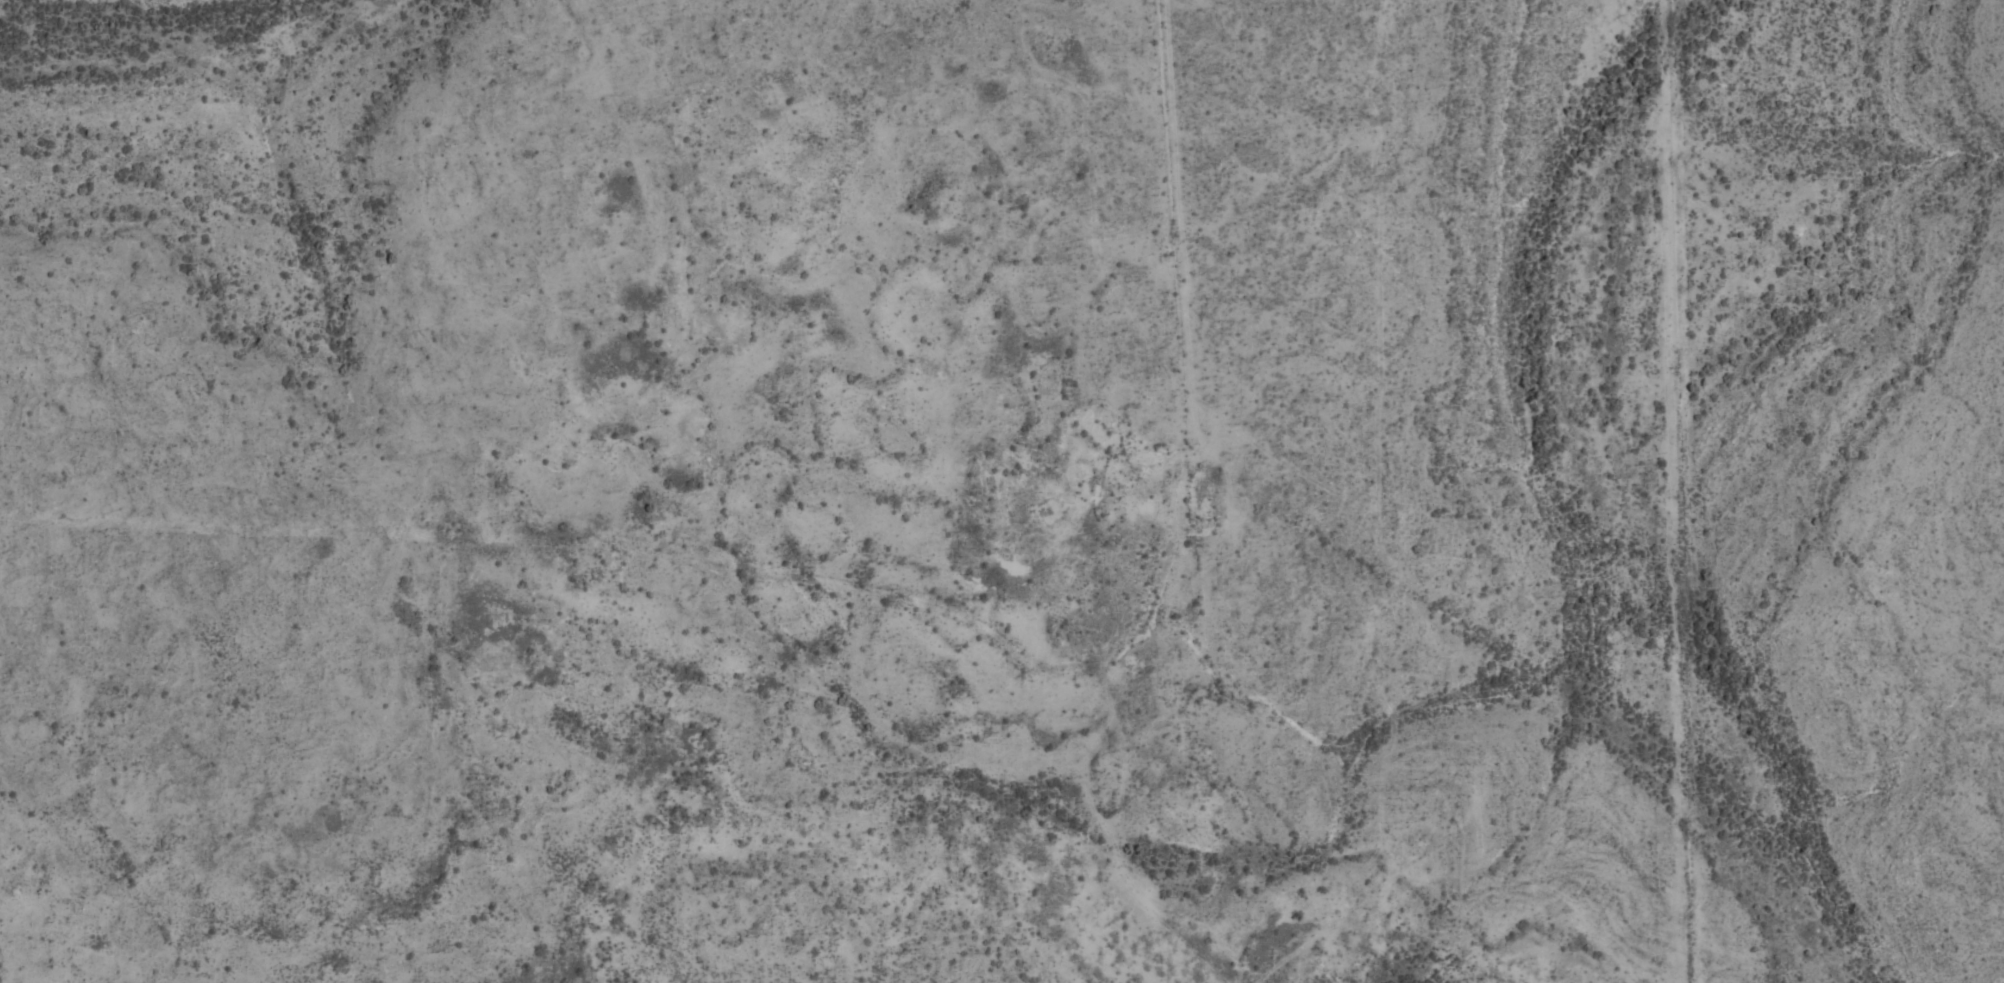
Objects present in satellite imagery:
park: (1834, 486)

